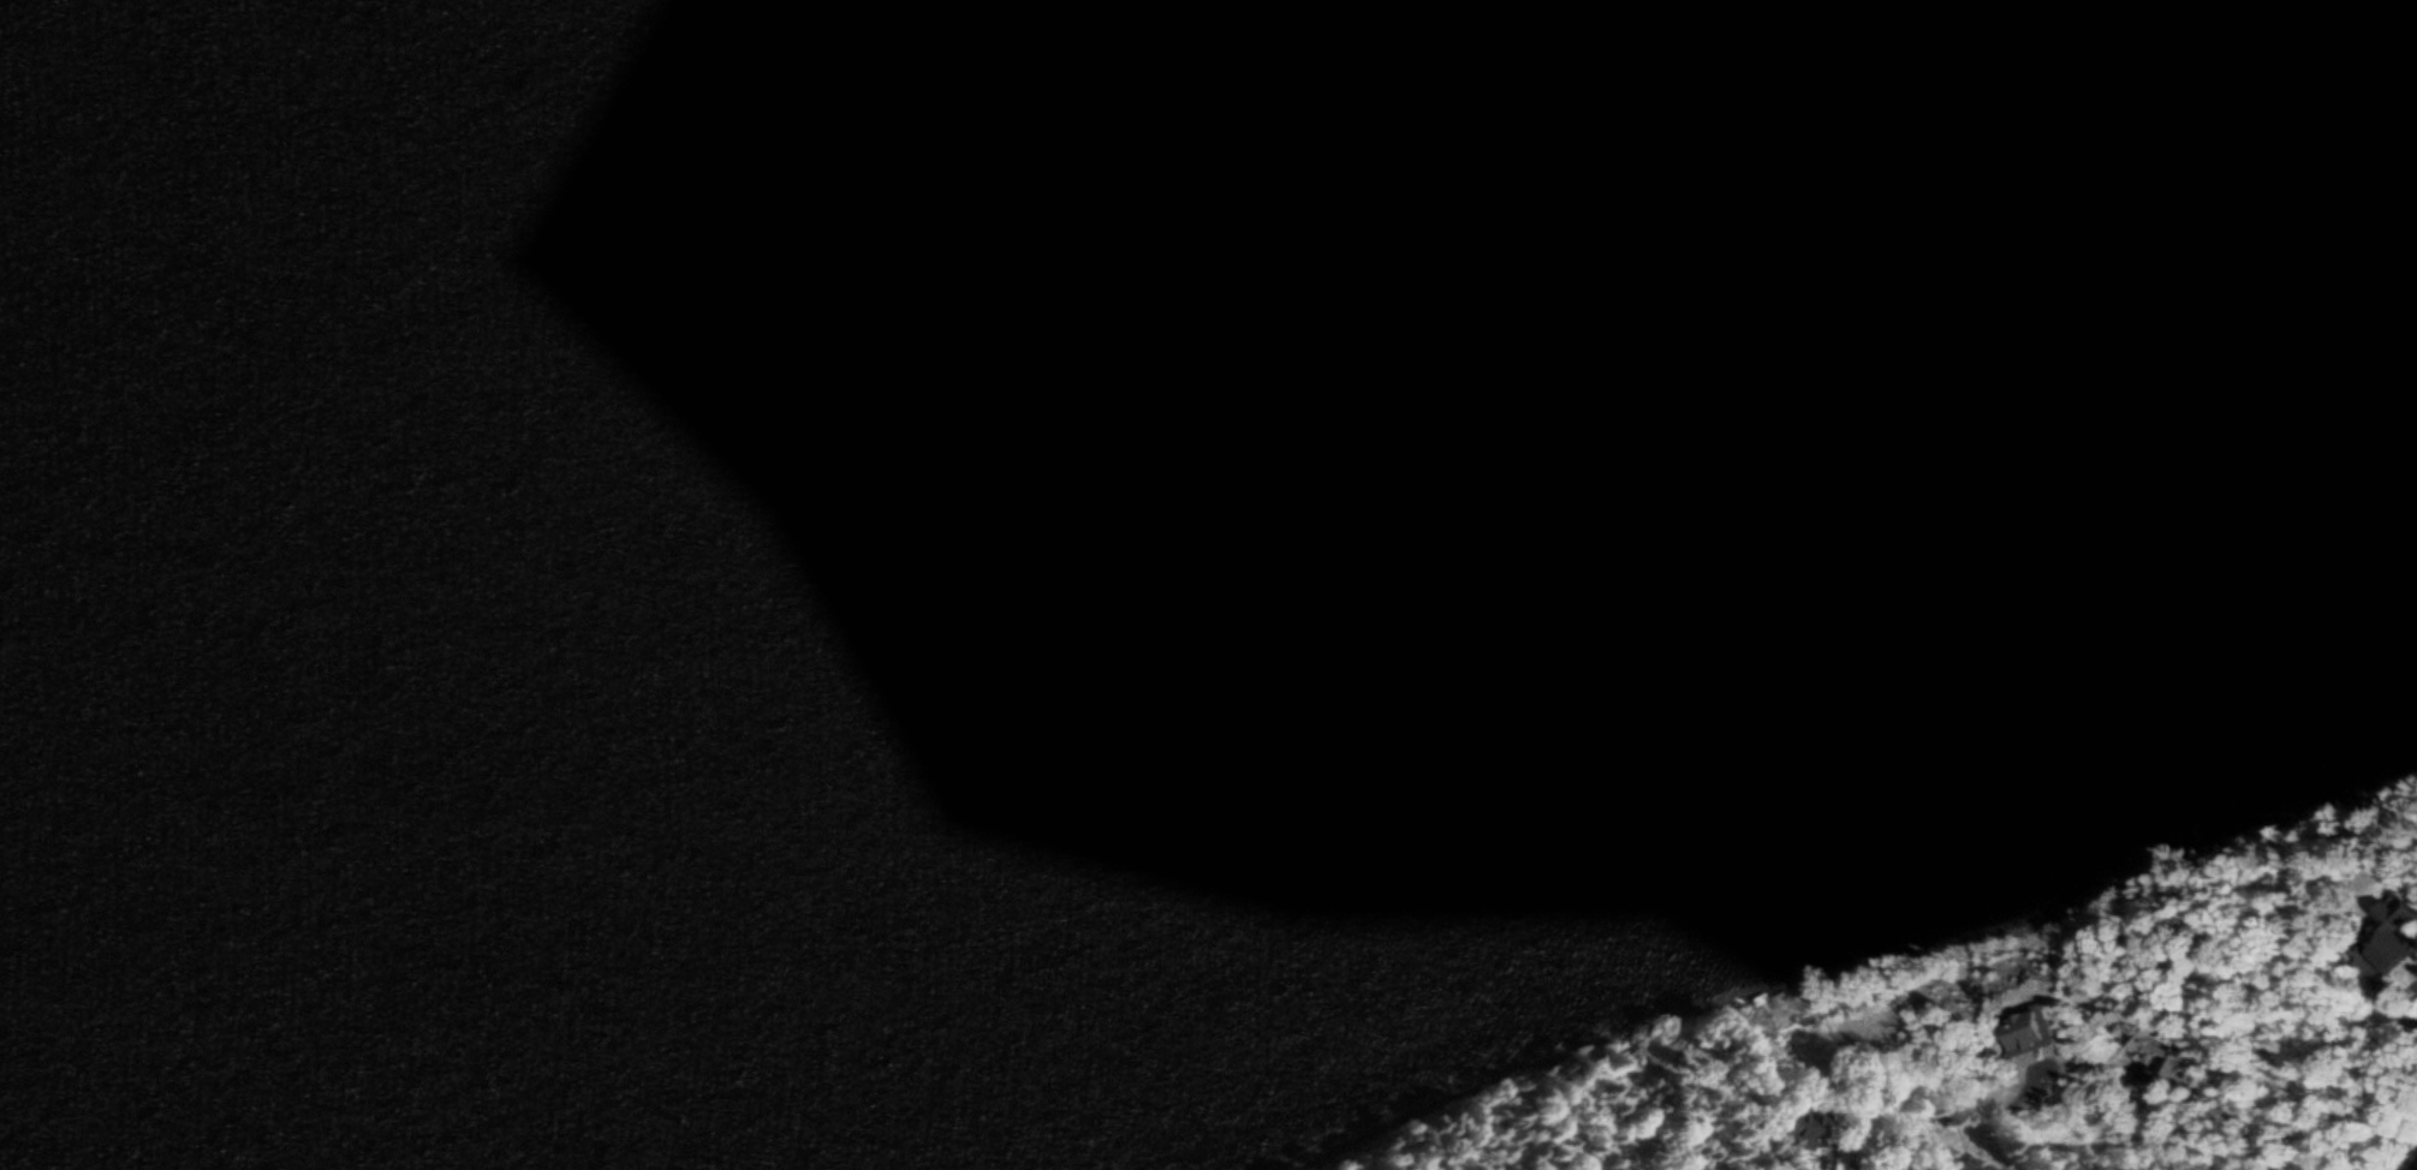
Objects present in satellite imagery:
building: (2395, 950)
building: (2028, 1037)
building: (2180, 1071)
road: (2013, 1121)
road: (2409, 1162)

